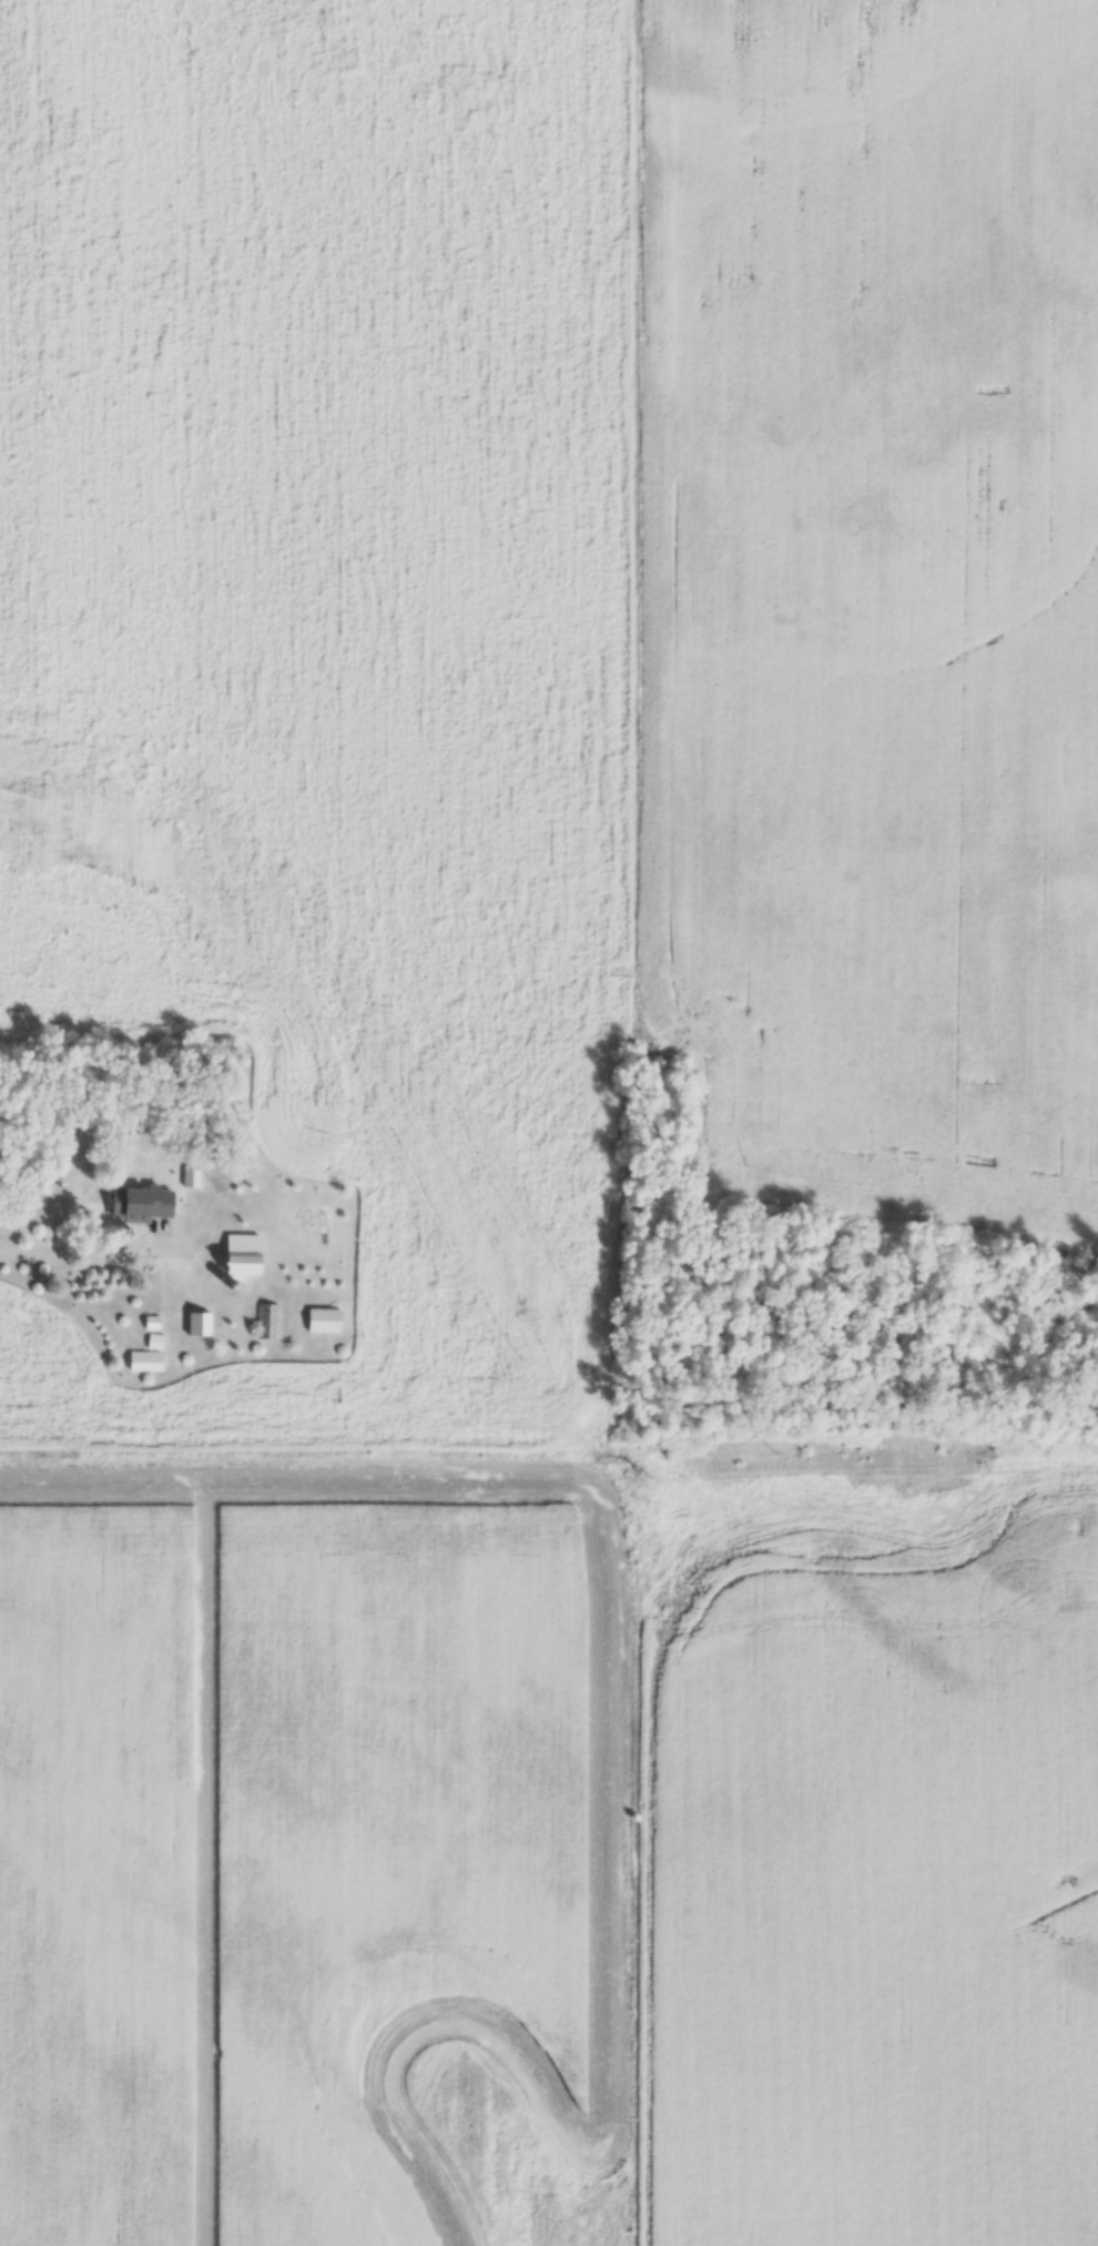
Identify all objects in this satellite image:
building: (138, 1203)
road: (89, 1250)
building: (236, 1255)
building: (321, 1319)
building: (266, 1321)
building: (196, 1324)
building: (143, 1360)

